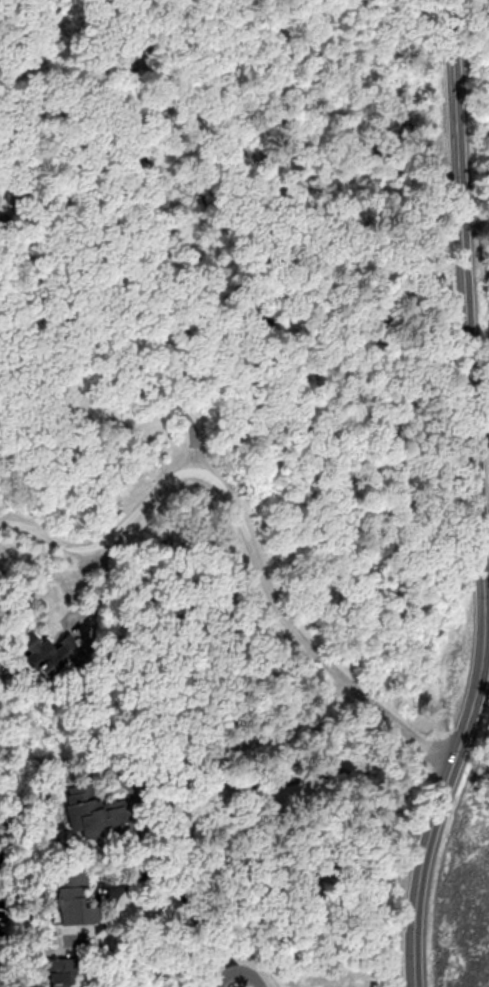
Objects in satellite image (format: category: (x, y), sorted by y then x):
road: (479, 276)
road: (465, 277)
road: (132, 355)
road: (476, 498)
road: (483, 525)
road: (97, 542)
road: (293, 631)
building: (49, 653)
road: (484, 687)
road: (293, 778)
building: (89, 810)
building: (70, 898)
road: (190, 905)
road: (138, 963)
building: (58, 972)

